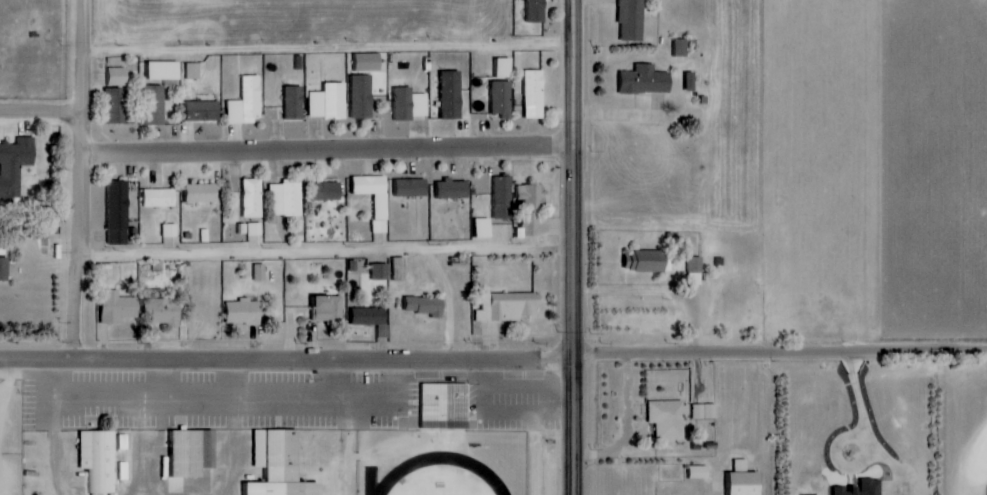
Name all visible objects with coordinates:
building: (531, 10)
building: (626, 20)
building: (680, 48)
road: (329, 49)
building: (370, 62)
building: (503, 68)
building: (163, 70)
building: (192, 71)
road: (84, 75)
building: (116, 77)
building: (639, 79)
building: (692, 82)
building: (452, 94)
building: (533, 94)
building: (362, 97)
building: (502, 97)
building: (329, 101)
building: (247, 102)
building: (295, 103)
building: (410, 104)
building: (116, 105)
building: (153, 105)
road: (42, 109)
building: (203, 111)
power tower: (558, 121)
road: (329, 147)
building: (15, 167)
road: (574, 178)
building: (363, 184)
building: (404, 187)
building: (447, 189)
building: (328, 191)
building: (195, 193)
building: (154, 197)
building: (504, 197)
building: (251, 198)
building: (288, 199)
building: (531, 207)
building: (119, 213)
building: (483, 228)
building: (249, 229)
building: (169, 230)
road: (85, 255)
road: (329, 255)
building: (644, 261)
building: (4, 269)
building: (399, 269)
building: (259, 272)
building: (380, 272)
building: (425, 306)
building: (508, 307)
building: (118, 308)
building: (328, 310)
building: (164, 312)
building: (244, 312)
building: (372, 319)
power tower: (558, 333)
road: (493, 359)
road: (165, 384)
road: (317, 386)
building: (445, 406)
road: (227, 408)
building: (701, 411)
building: (664, 419)
road: (574, 426)
road: (864, 426)
road: (234, 428)
road: (58, 449)
road: (151, 449)
road: (370, 450)
building: (186, 452)
road: (444, 457)
building: (96, 459)
road: (973, 464)
building: (274, 465)
building: (124, 470)
building: (694, 472)
building: (736, 483)
building: (856, 488)

